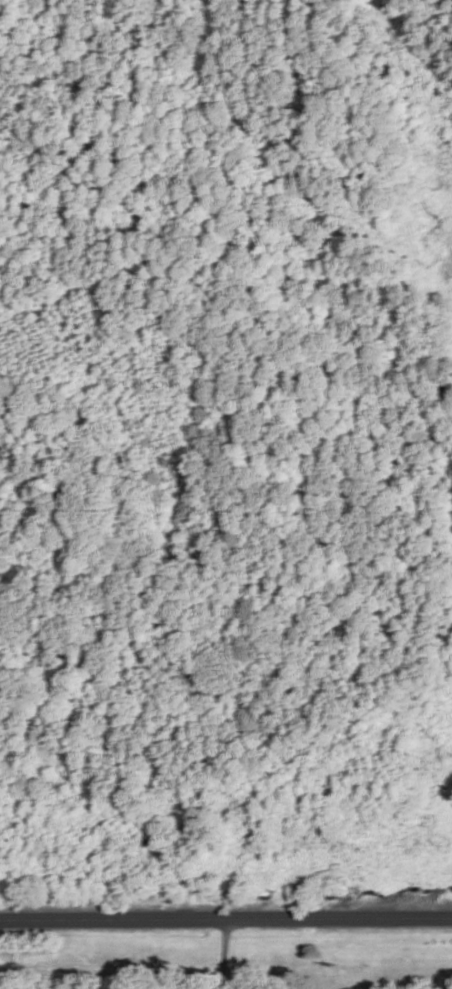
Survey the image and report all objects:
road: (226, 919)
road: (223, 954)
road: (201, 973)

